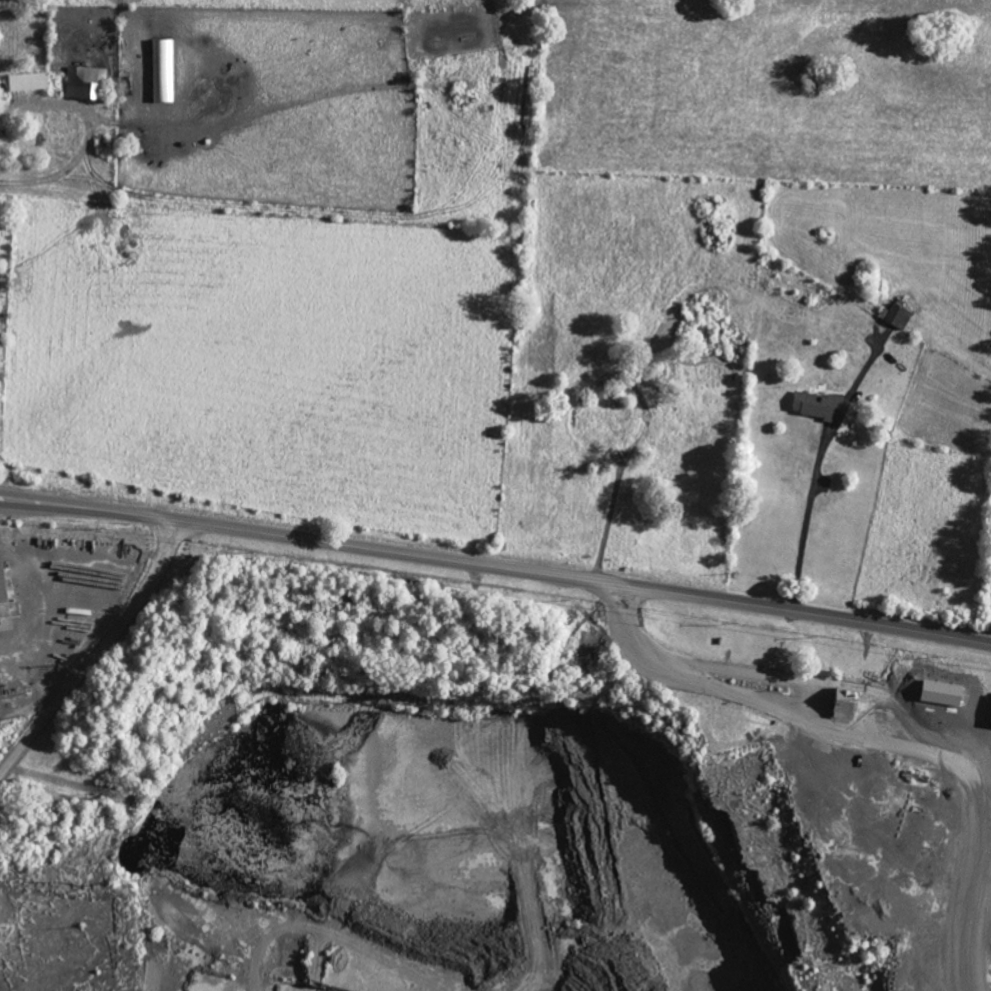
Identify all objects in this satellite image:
building: (163, 70)
building: (28, 81)
building: (84, 81)
road: (88, 134)
building: (896, 315)
building: (816, 404)
road: (816, 469)
road: (496, 563)
building: (2, 594)
road: (632, 644)
road: (98, 650)
road: (802, 693)
building: (844, 701)
road: (914, 749)
quarry: (464, 787)

